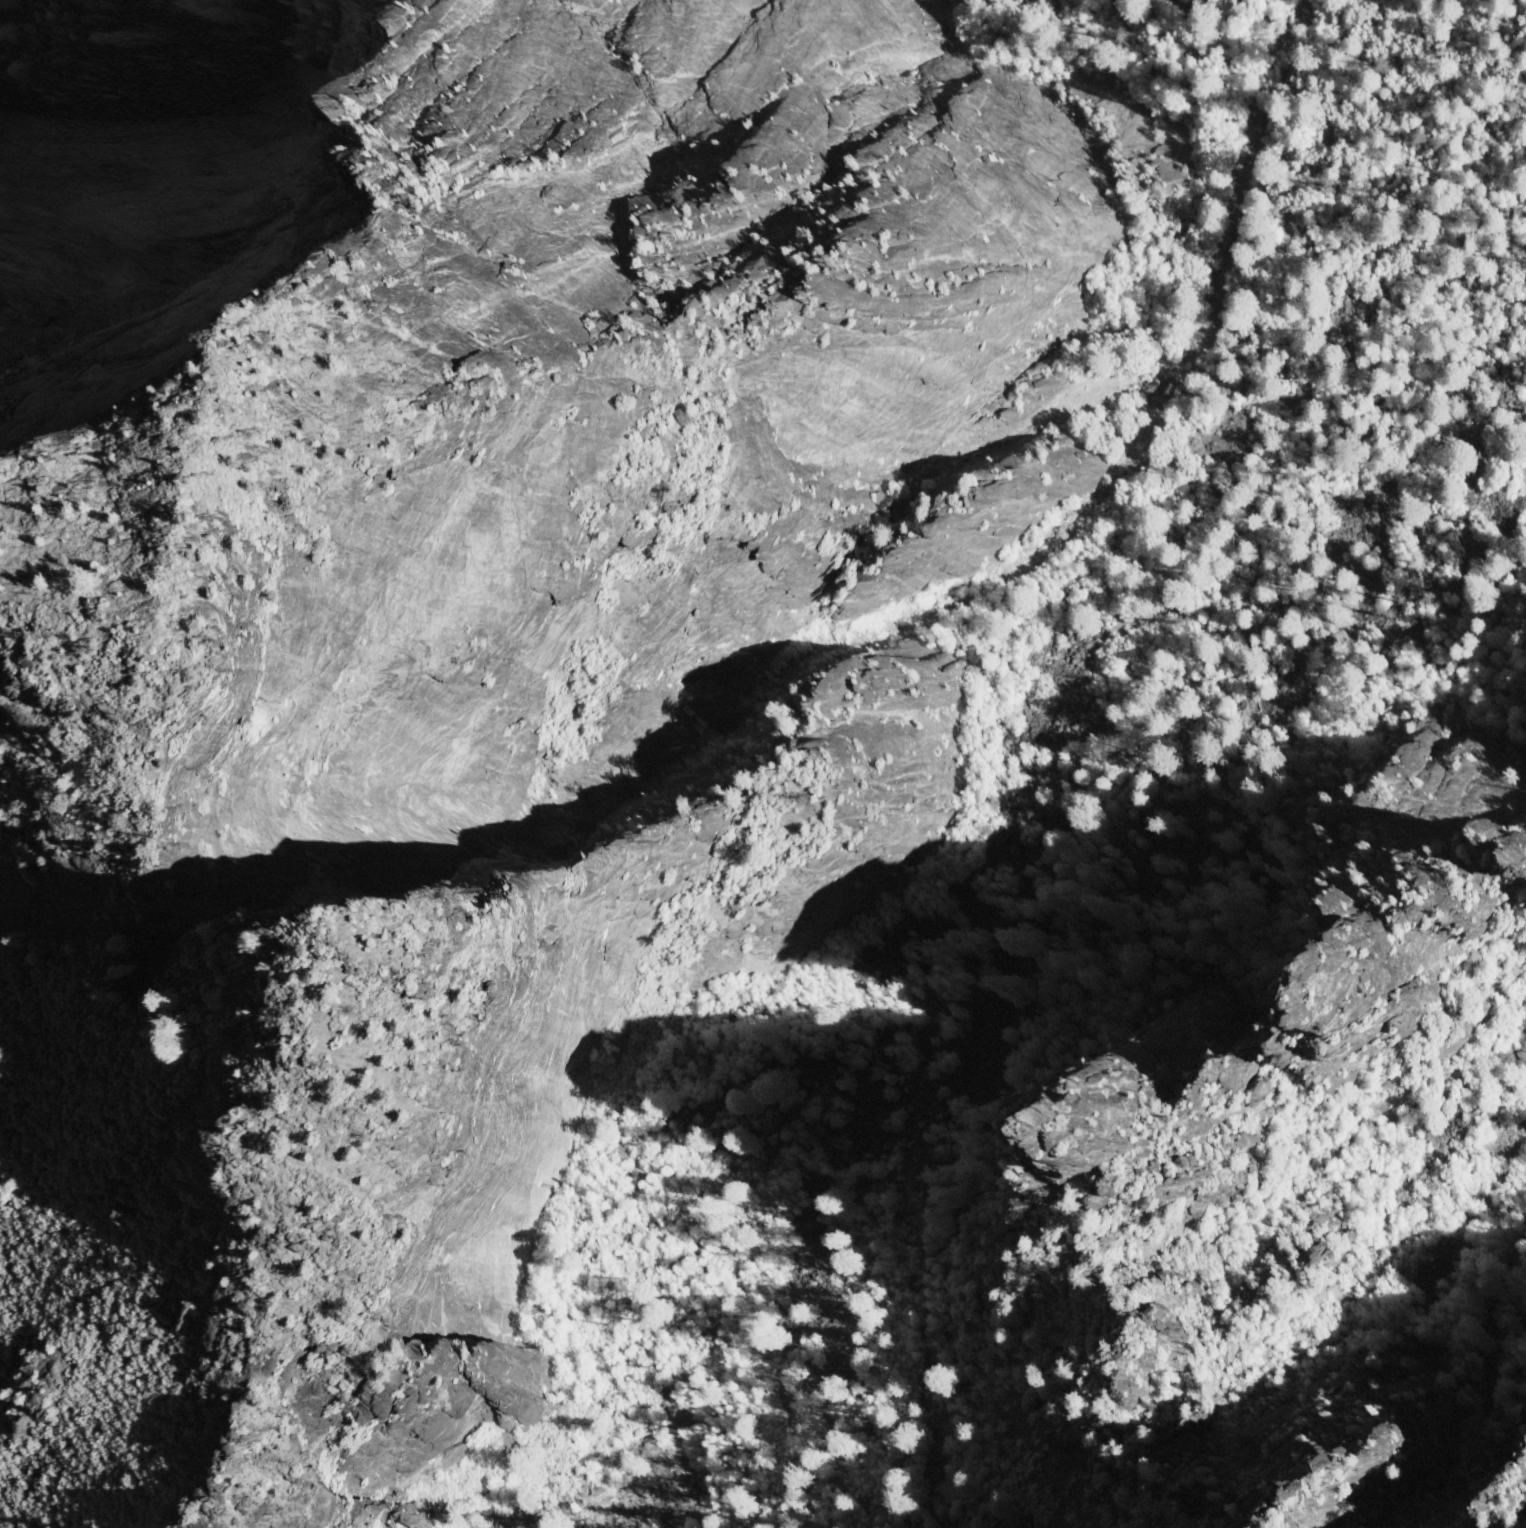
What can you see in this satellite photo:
road: (1207, 134)
road: (1172, 865)

